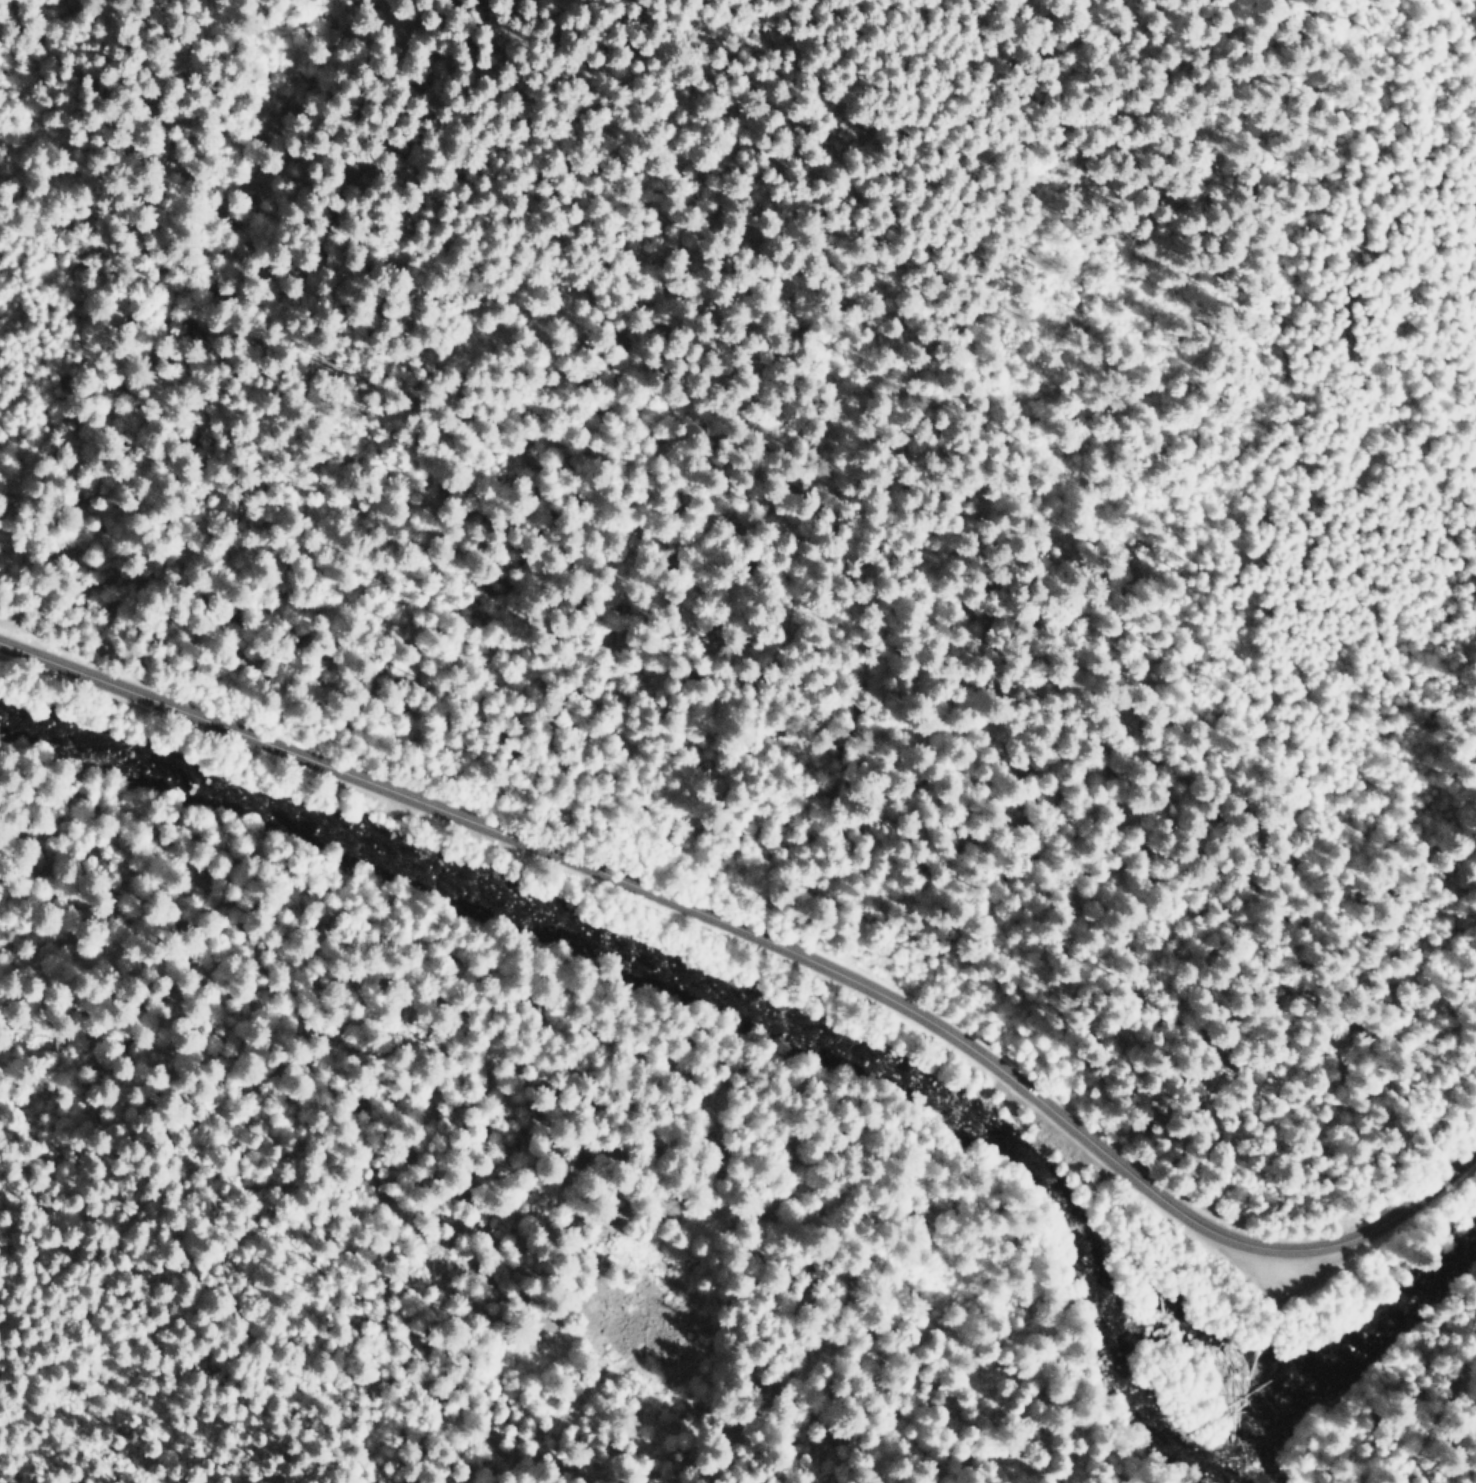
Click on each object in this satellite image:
road: (770, 938)
river: (781, 1047)

